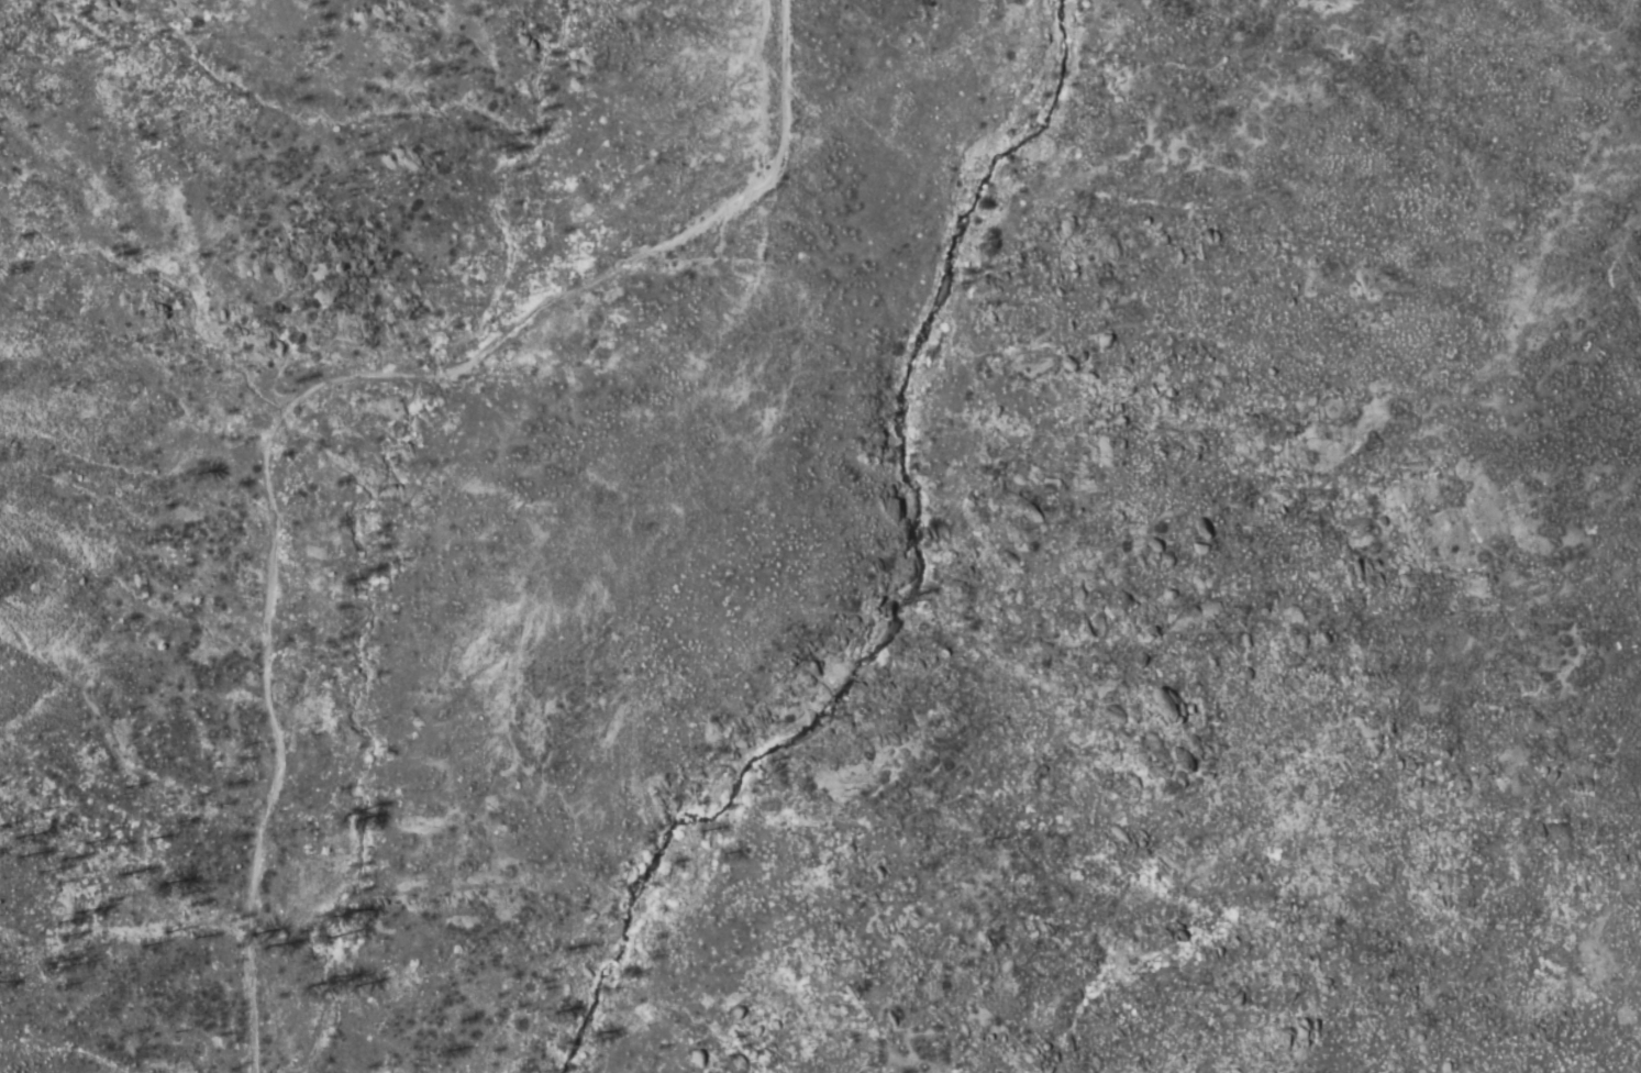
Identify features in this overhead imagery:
road: (302, 386)

